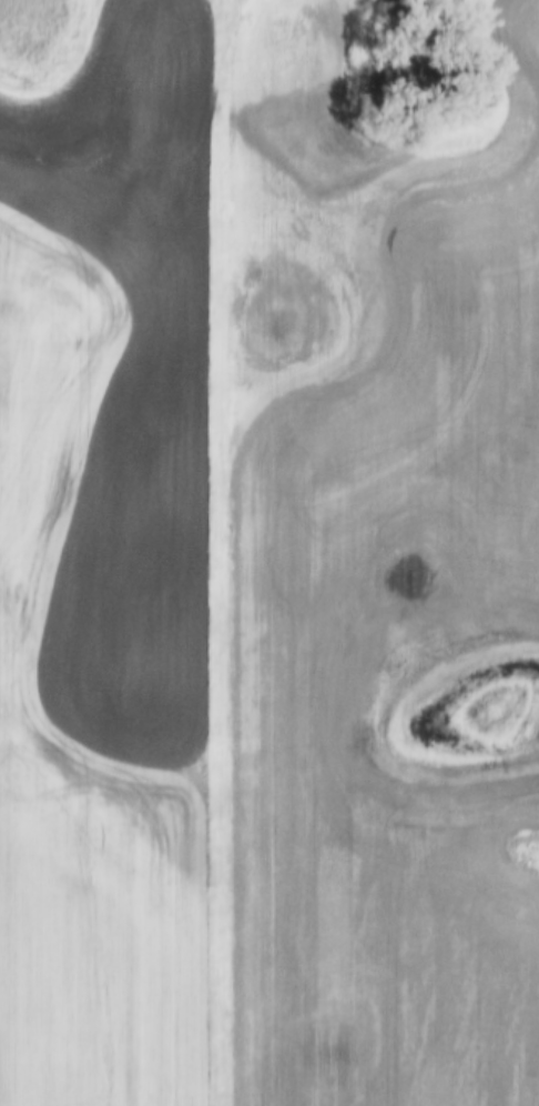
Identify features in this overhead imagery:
road: (67, 71)

